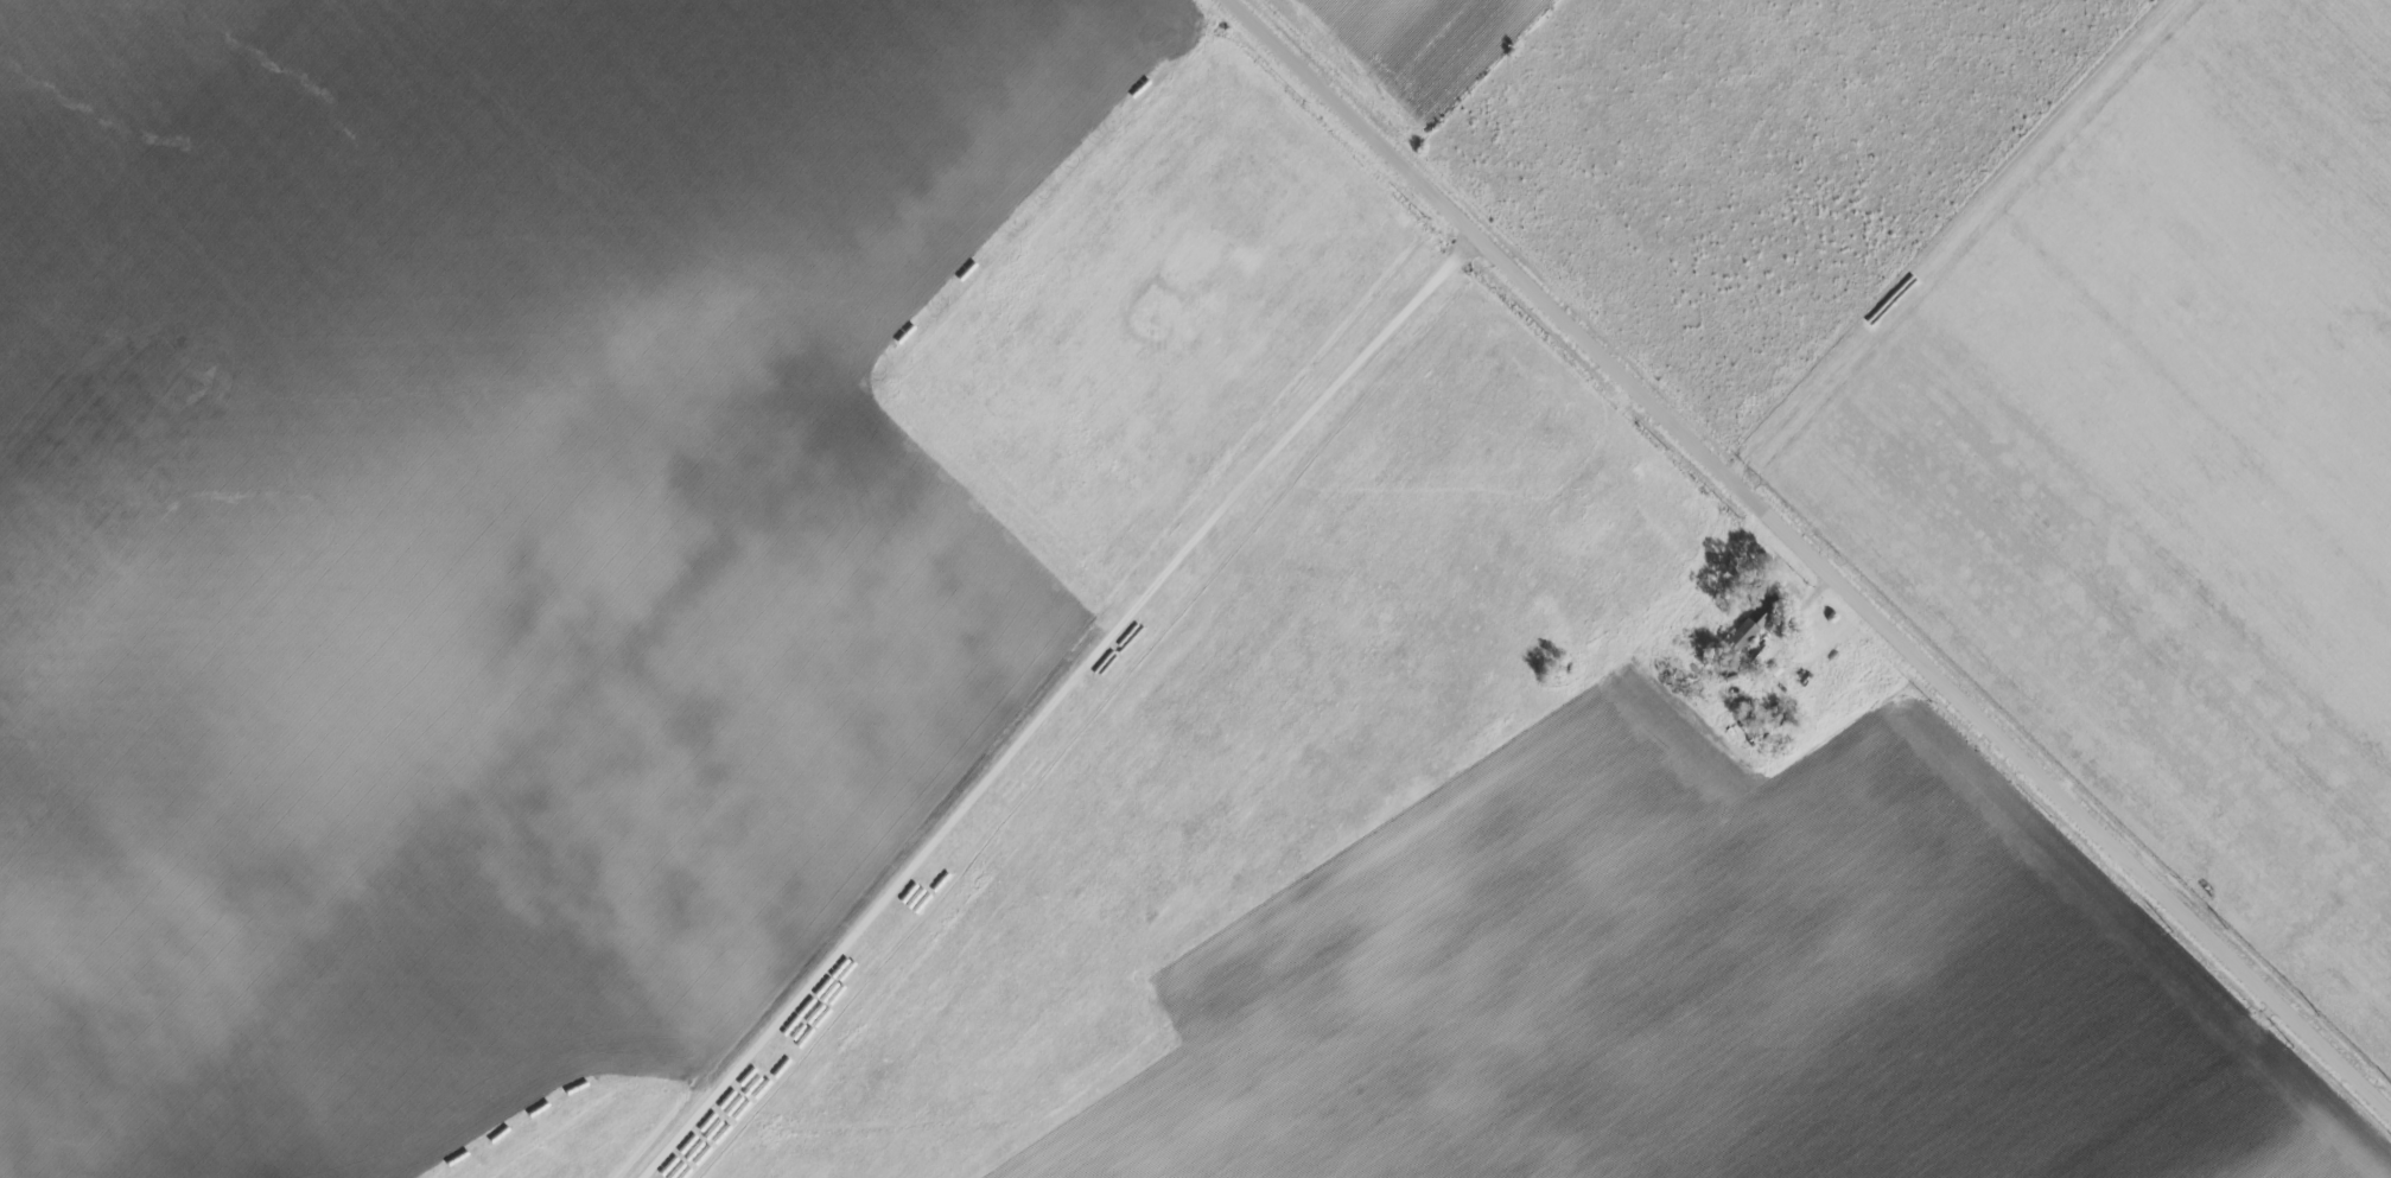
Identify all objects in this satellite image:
road: (1812, 555)
building: (1754, 620)
road: (1067, 706)

